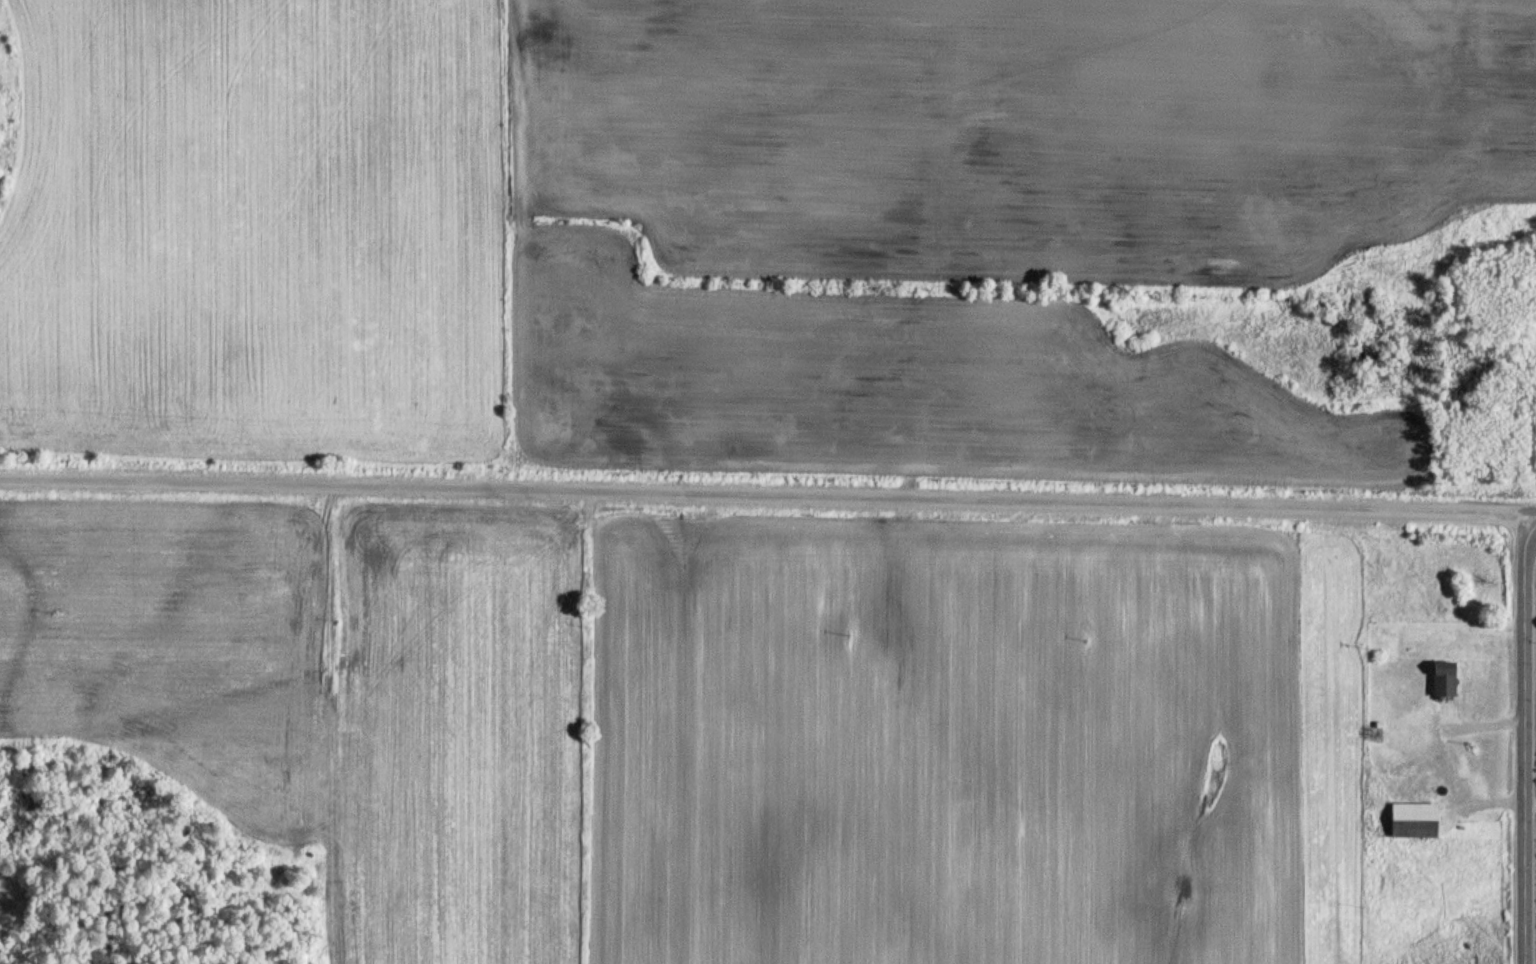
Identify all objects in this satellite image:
road: (764, 495)
road: (1533, 511)
building: (1443, 678)
road: (1530, 737)
building: (1412, 812)

